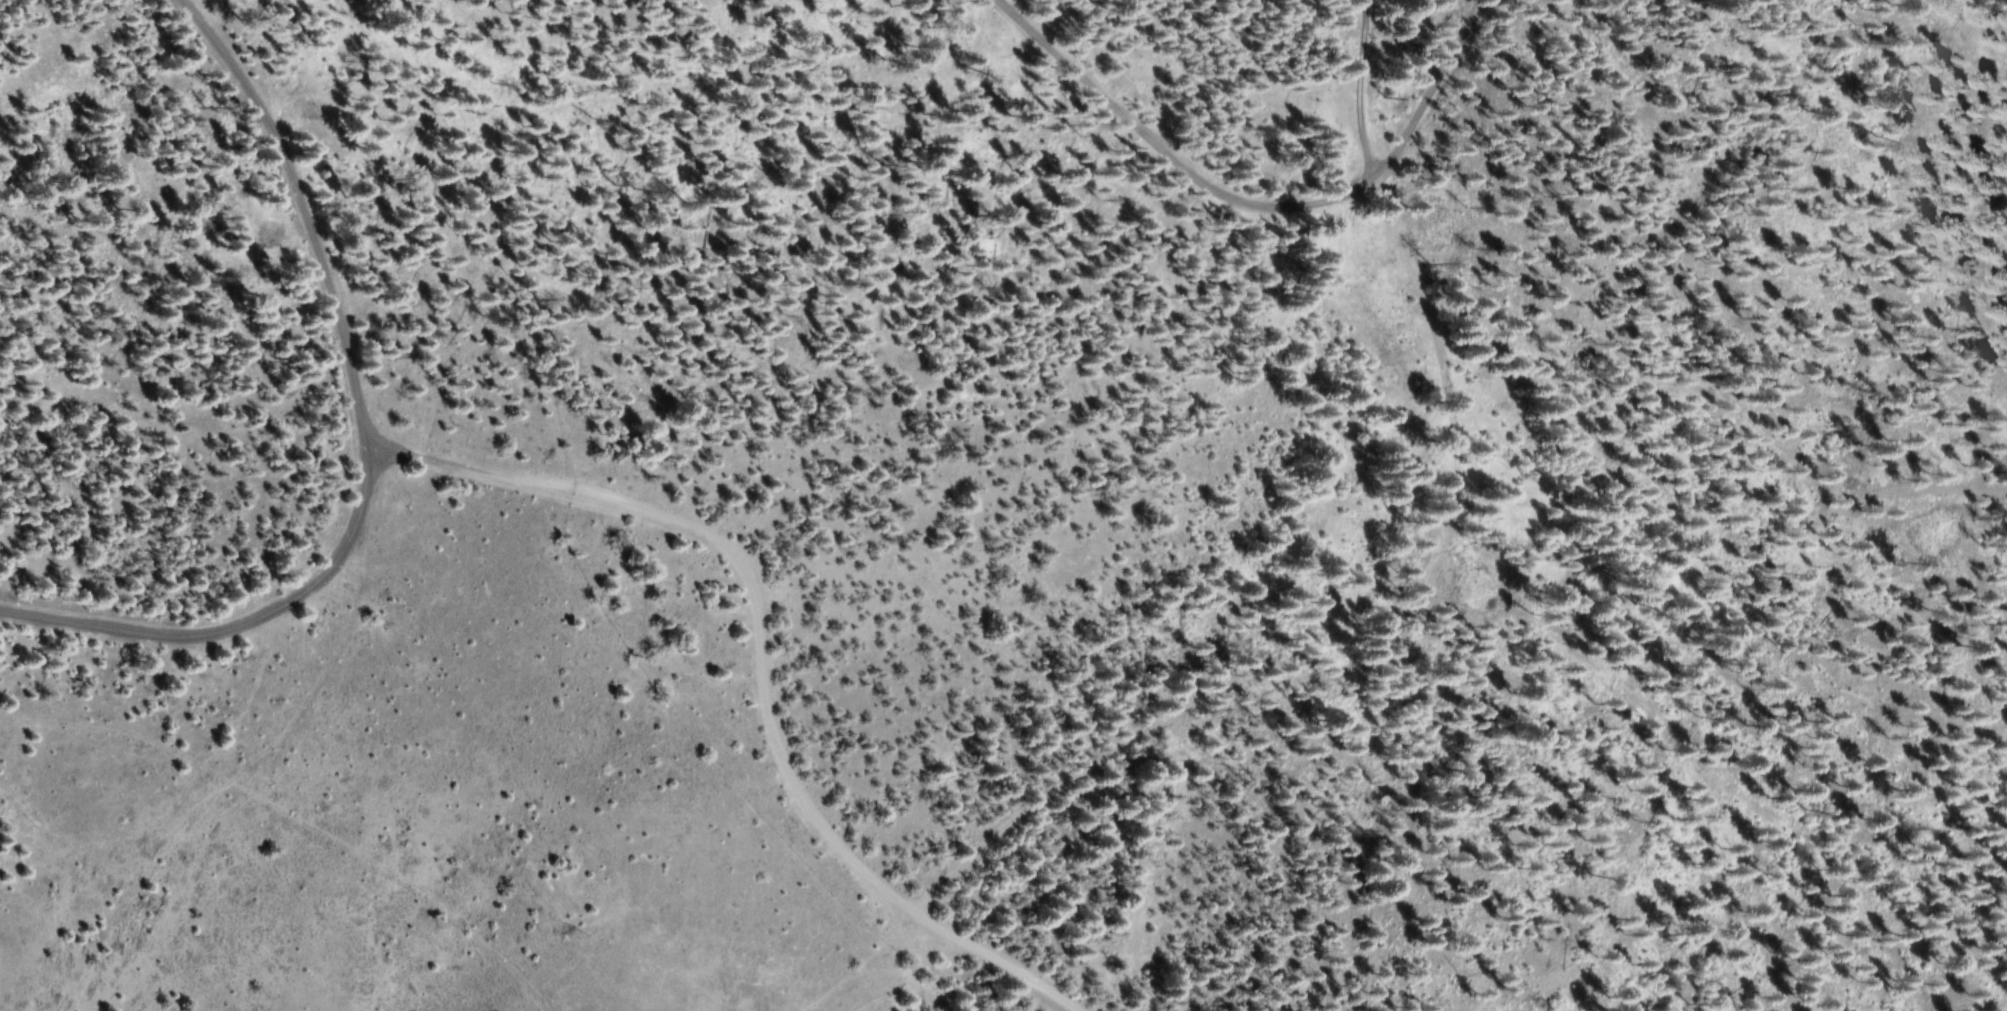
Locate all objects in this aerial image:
road: (1427, 86)
road: (1355, 87)
road: (1165, 152)
road: (360, 441)
road: (758, 658)
road: (1360, 658)
quarry: (1488, 1004)

